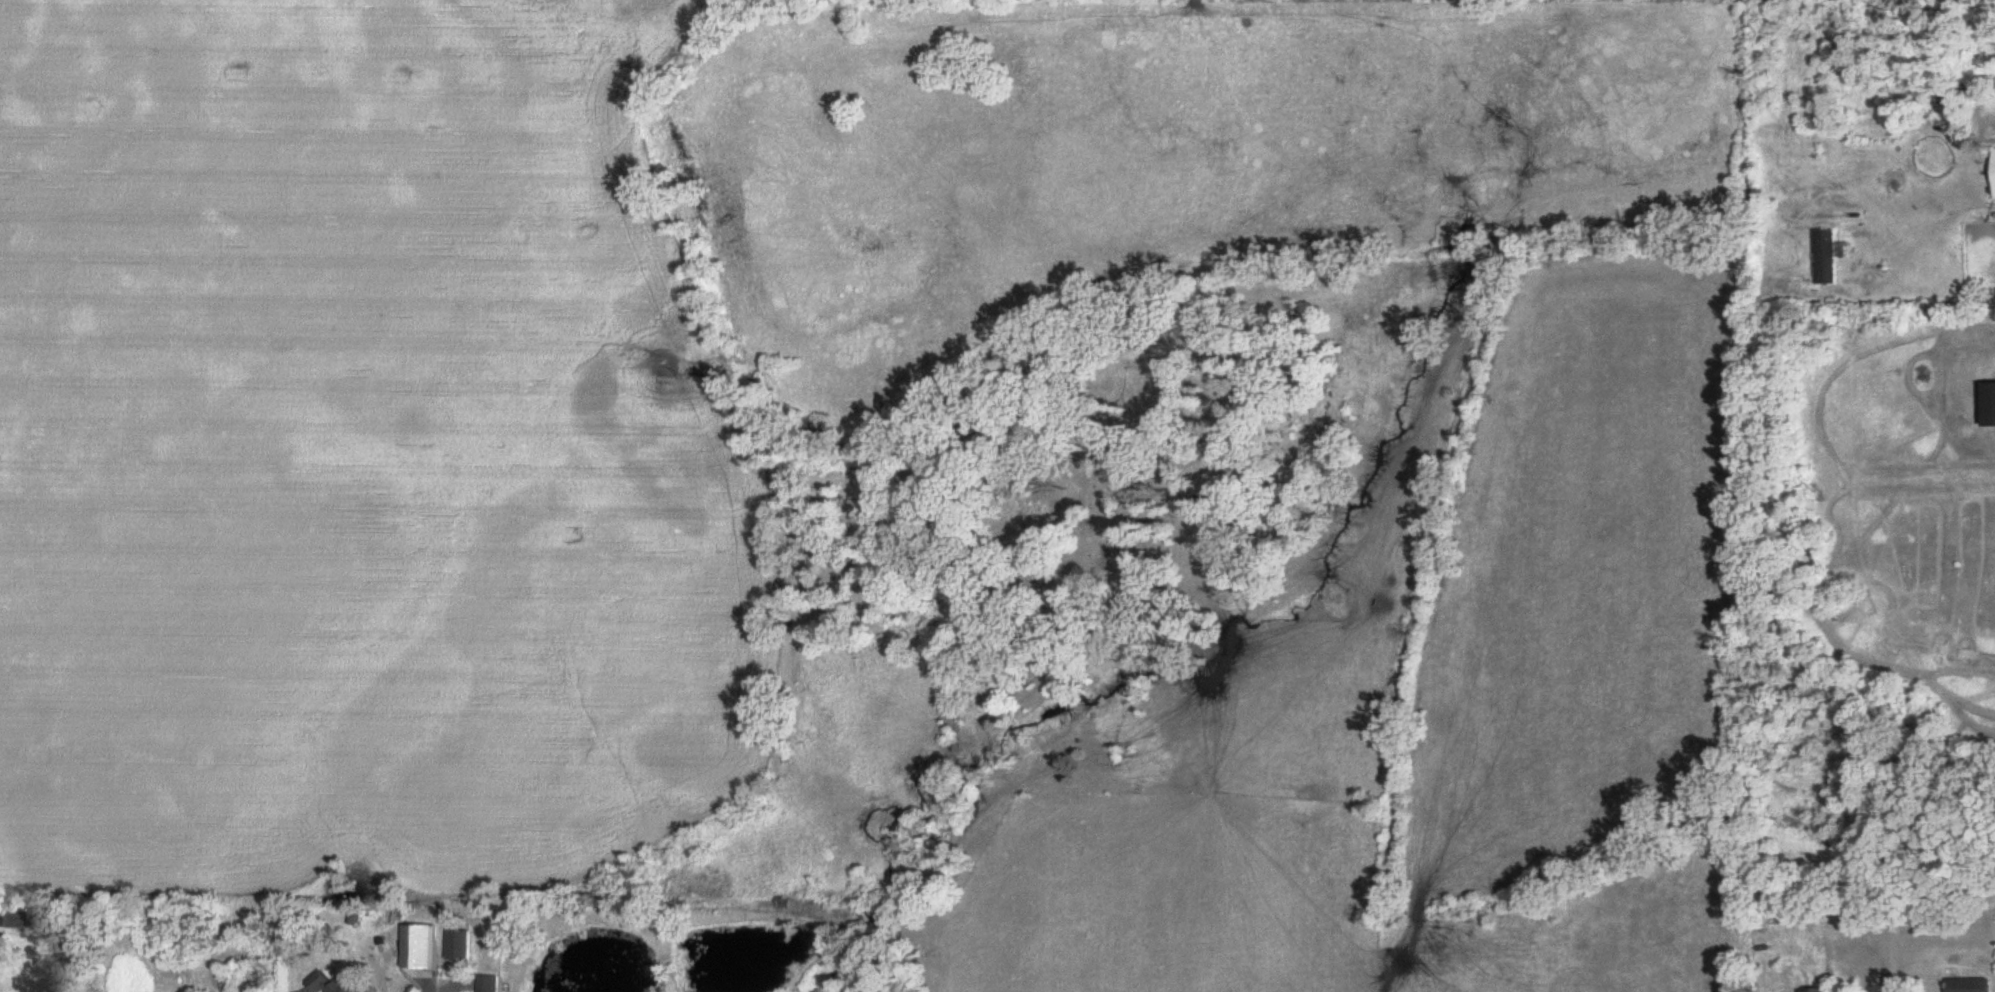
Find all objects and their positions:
road: (1941, 213)
building: (1826, 258)
road: (1885, 970)
building: (331, 984)
building: (493, 984)
building: (1971, 985)
building: (1819, 991)

